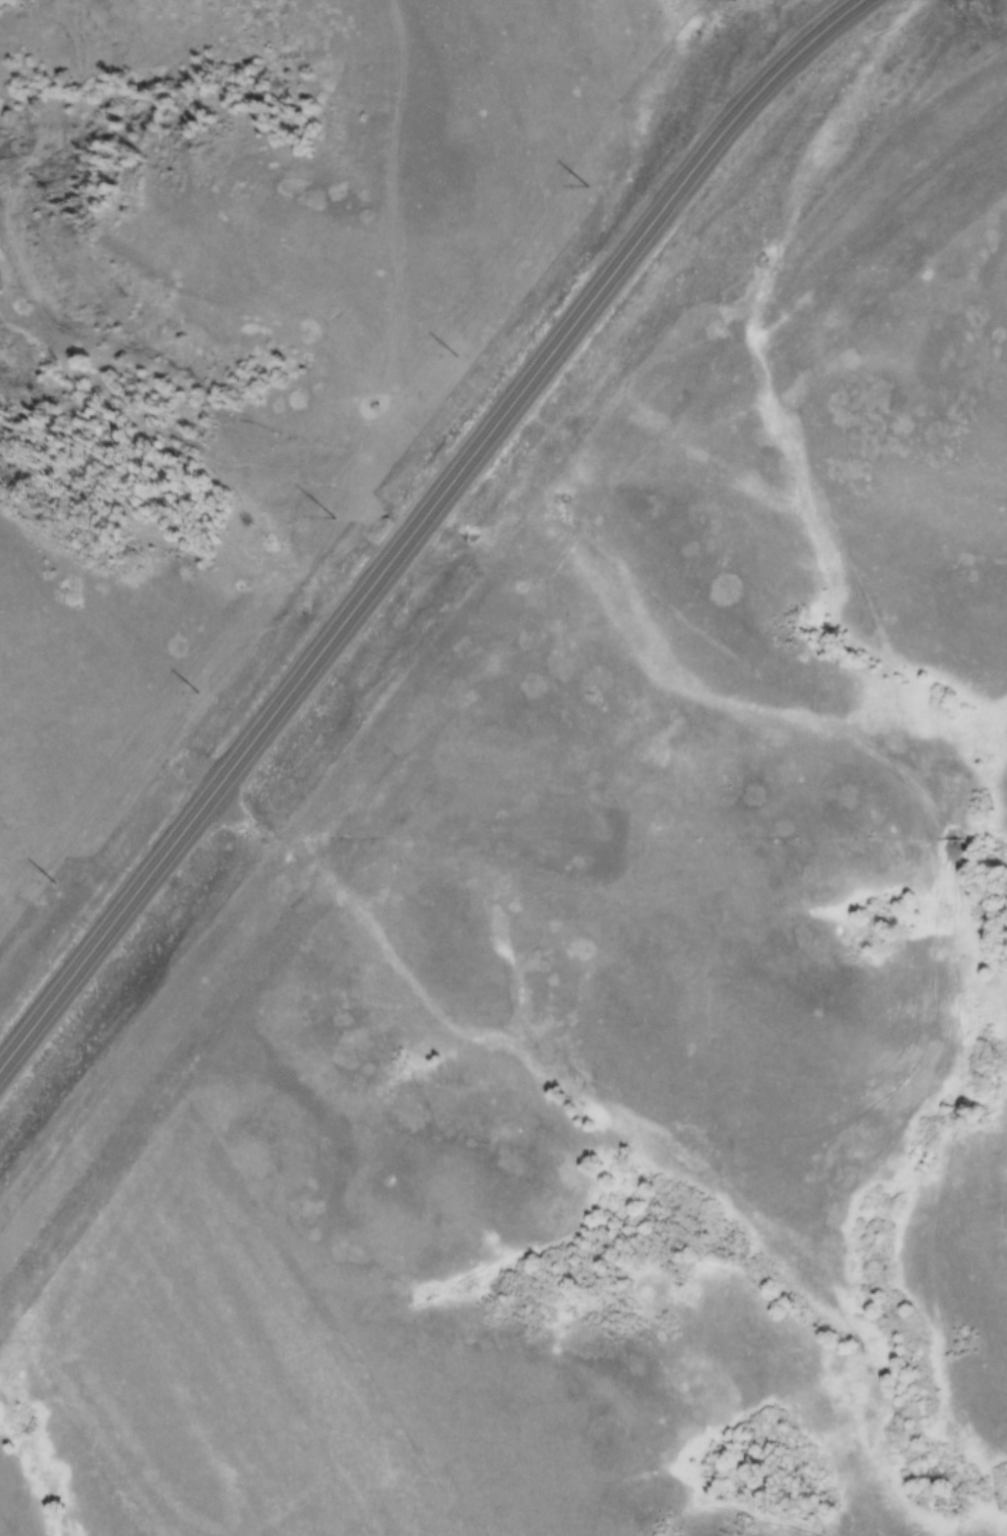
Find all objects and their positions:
road: (415, 530)

